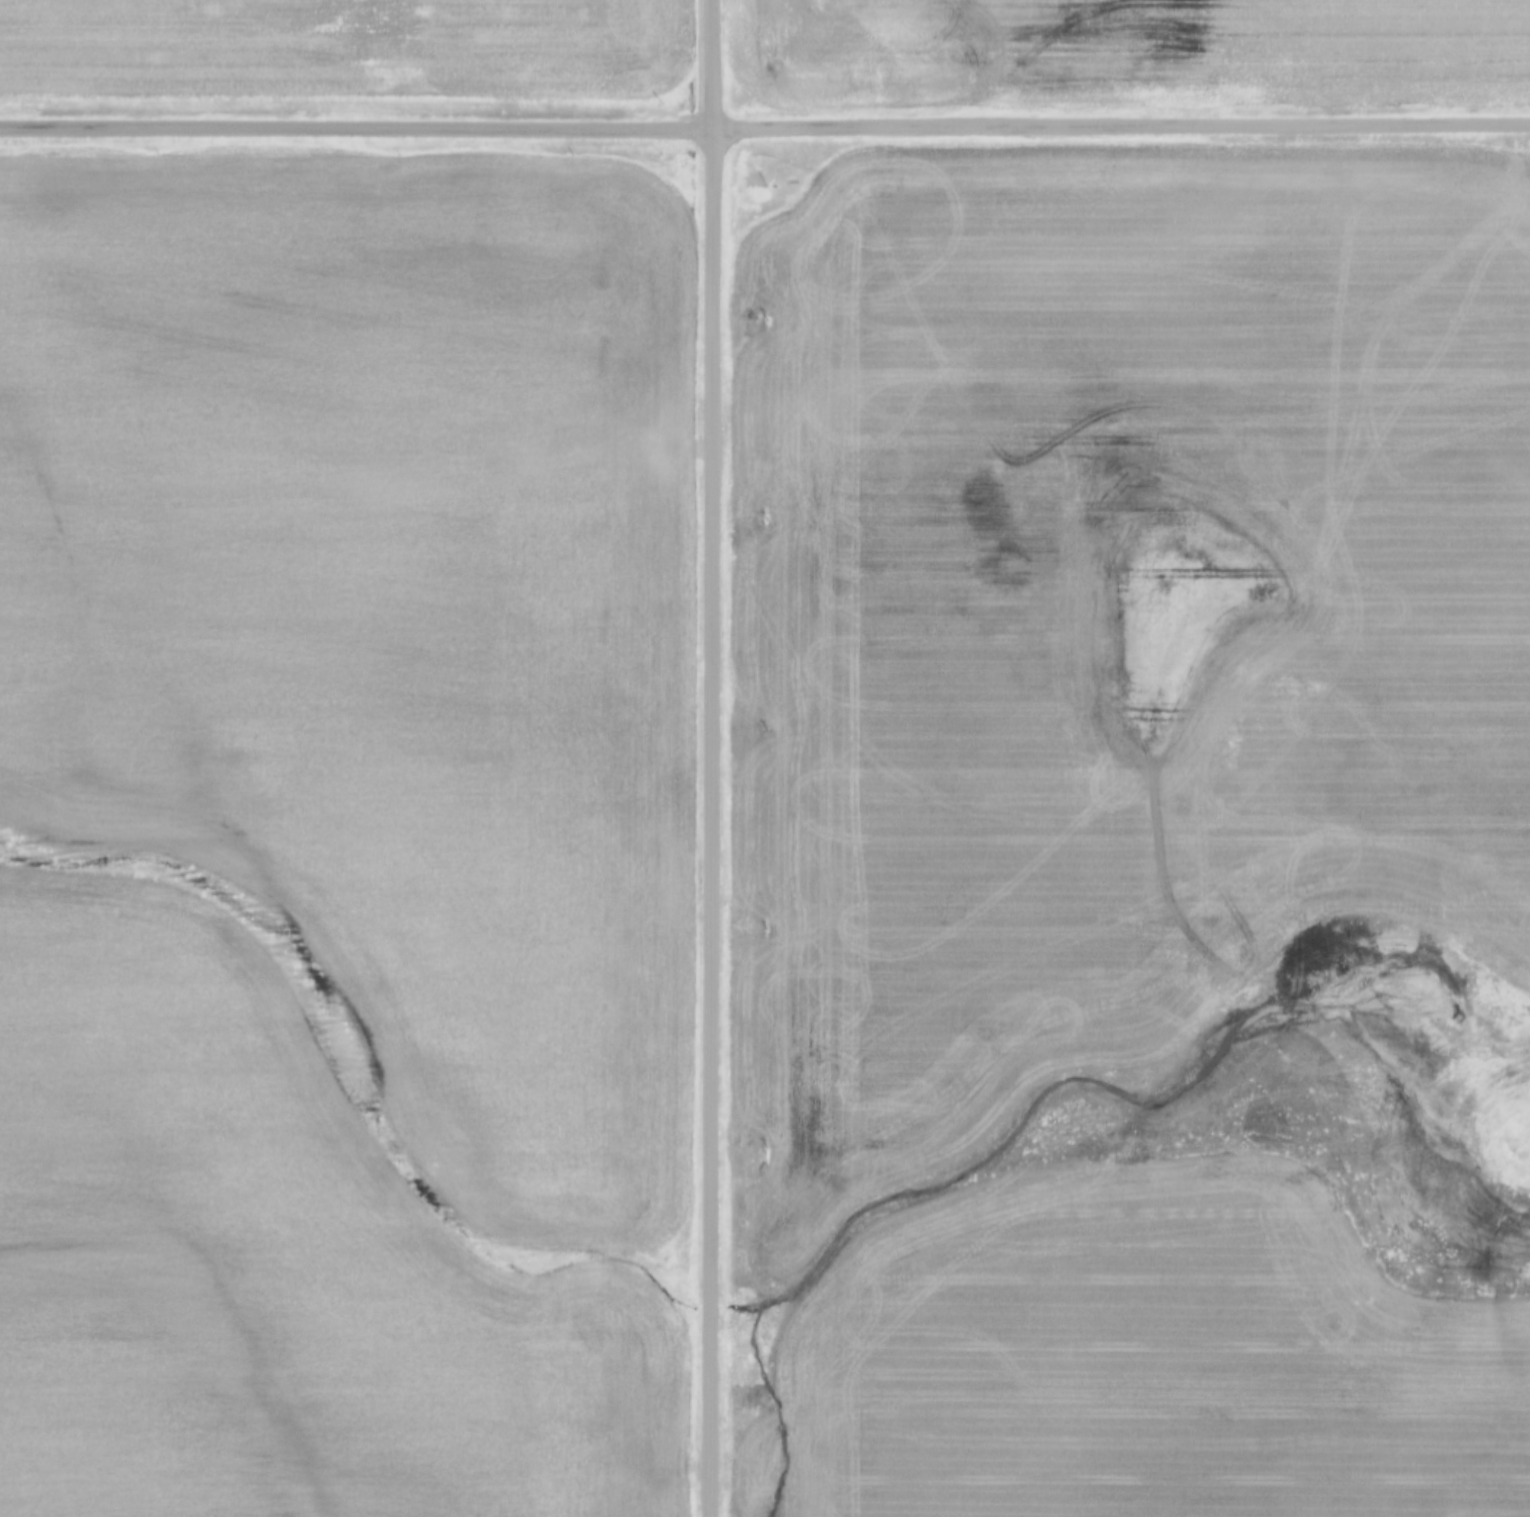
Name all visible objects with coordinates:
road: (765, 129)
road: (714, 758)

